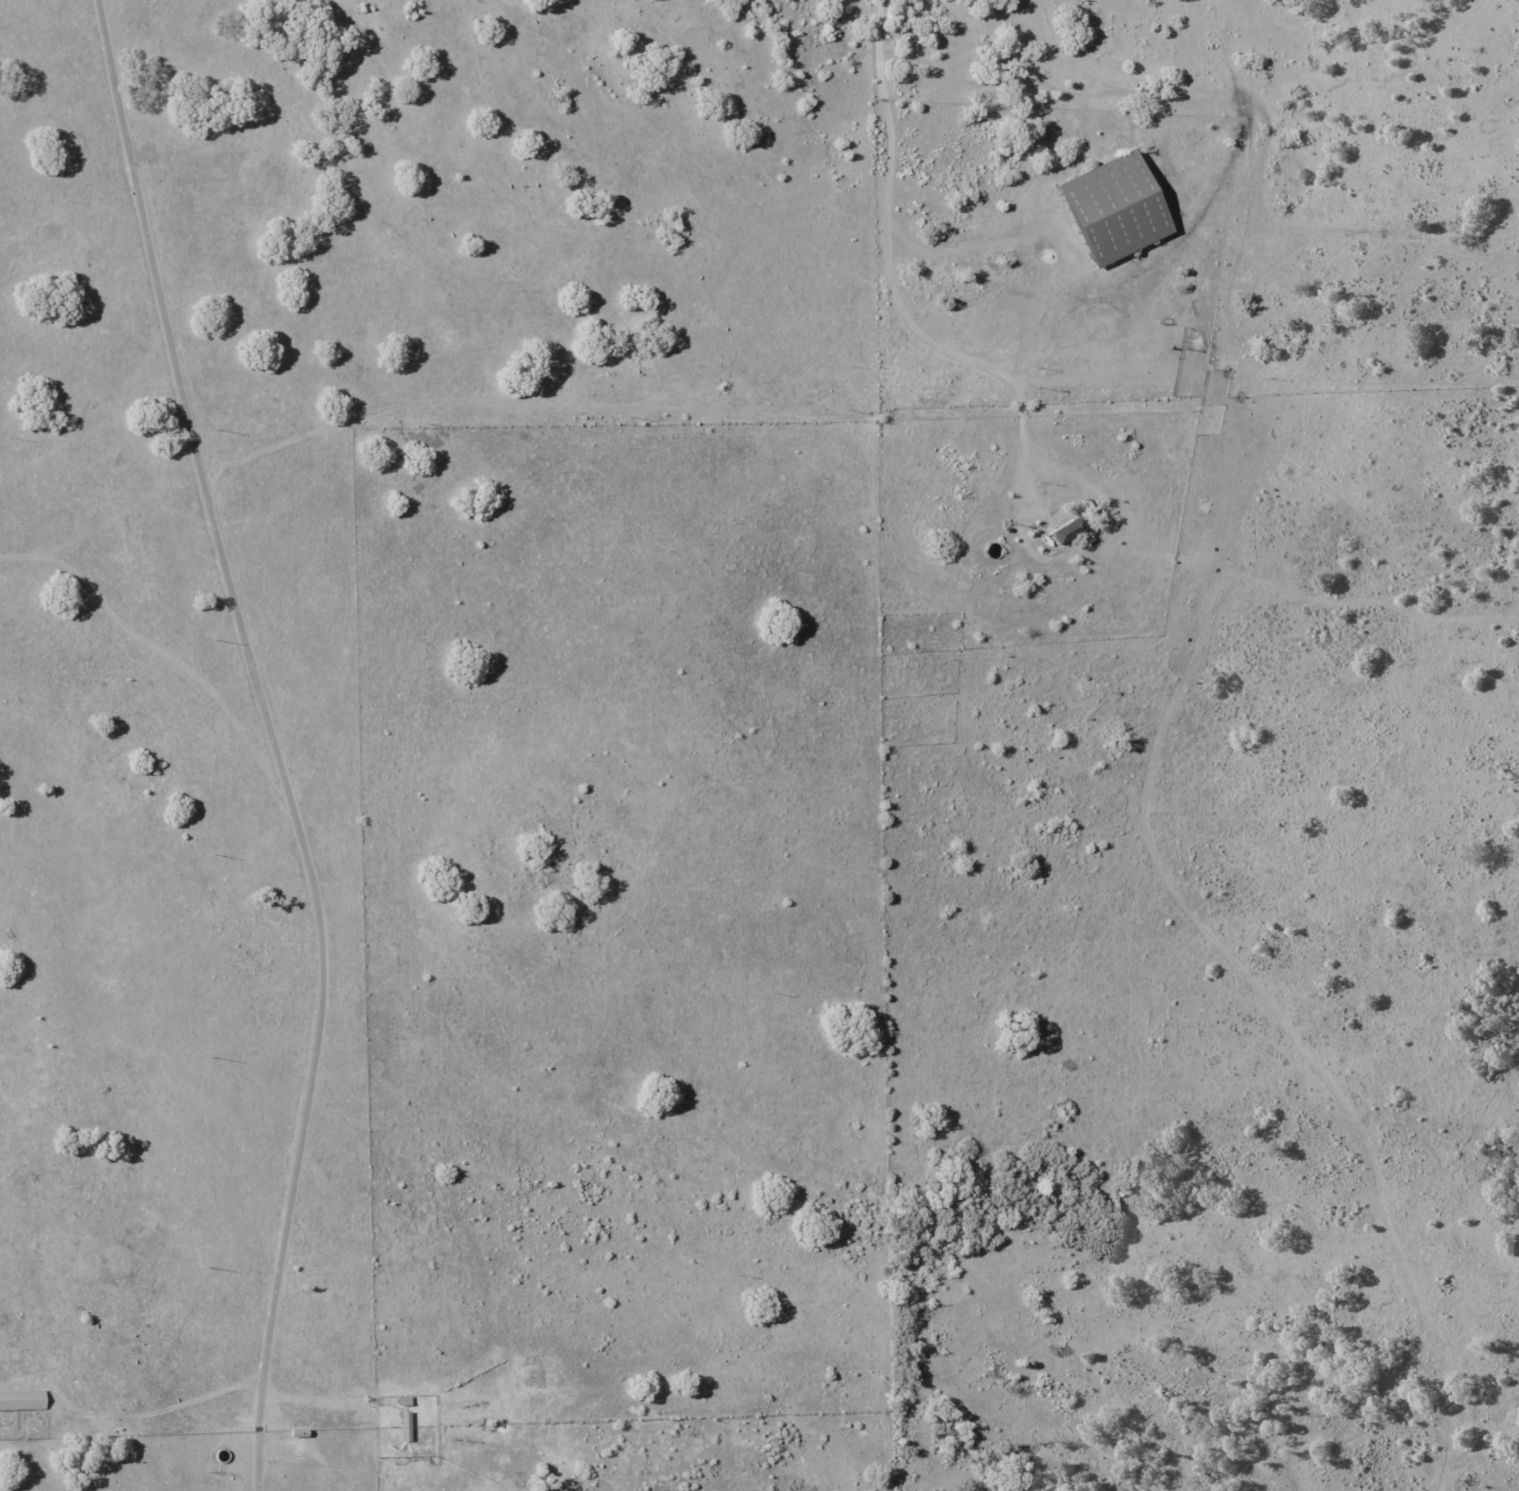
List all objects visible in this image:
road: (888, 168)
building: (1118, 208)
road: (1019, 456)
building: (1068, 531)
road: (275, 746)
building: (23, 1400)
building: (406, 1401)
road: (151, 1410)
building: (408, 1427)
building: (301, 1433)

